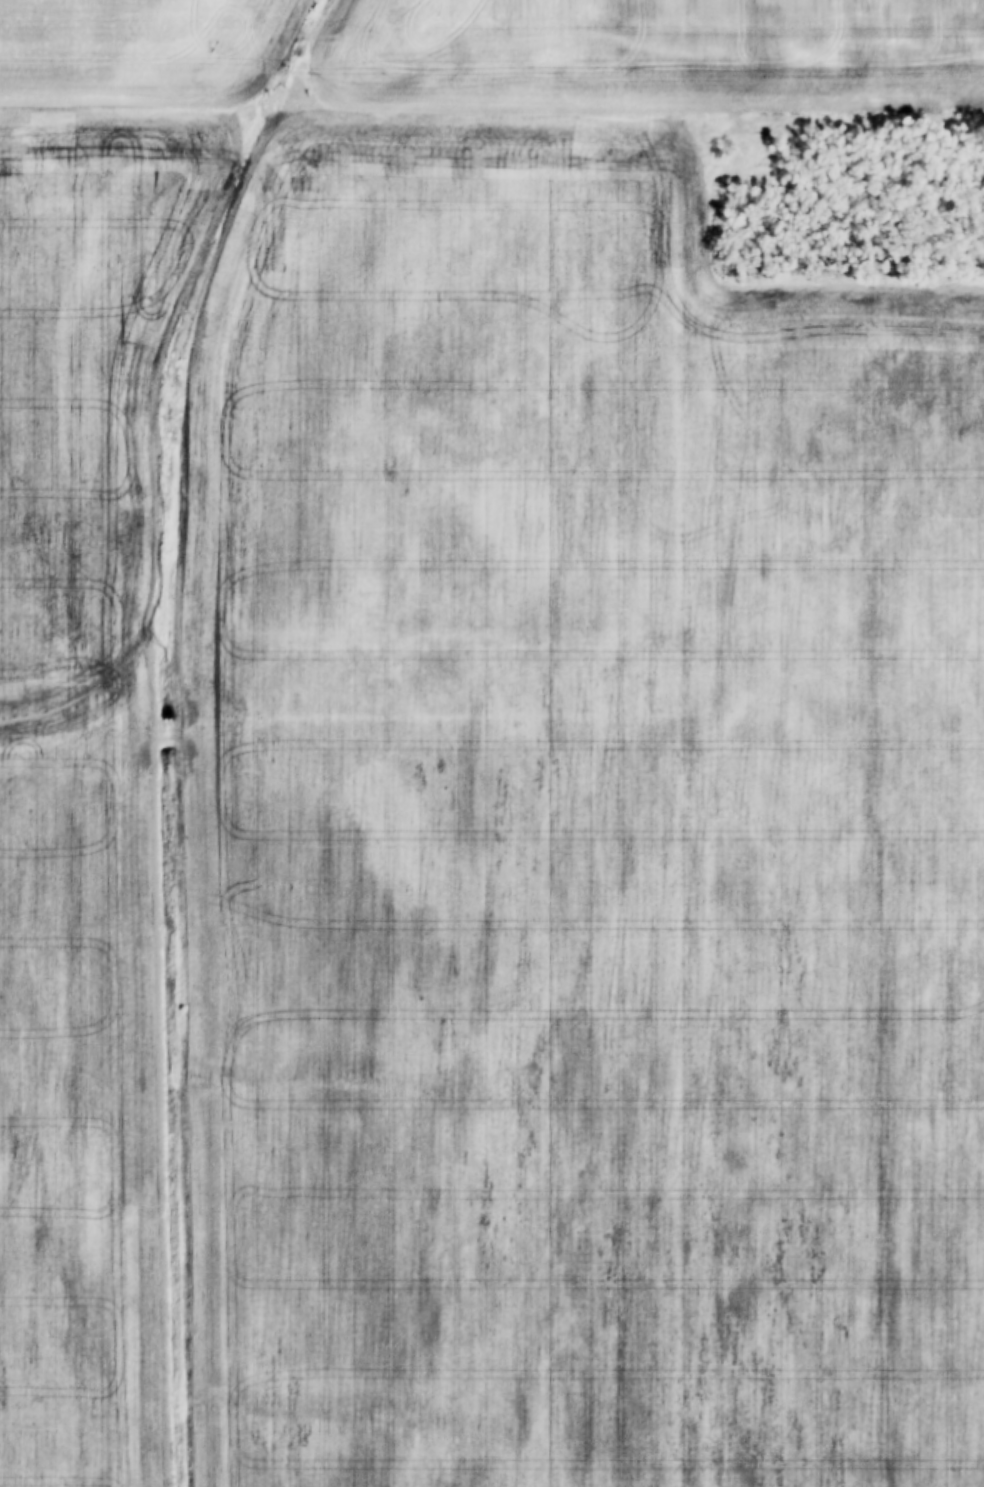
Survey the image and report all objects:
crop: (142, 55)
crop: (656, 56)
crop: (82, 782)
crop: (576, 834)

